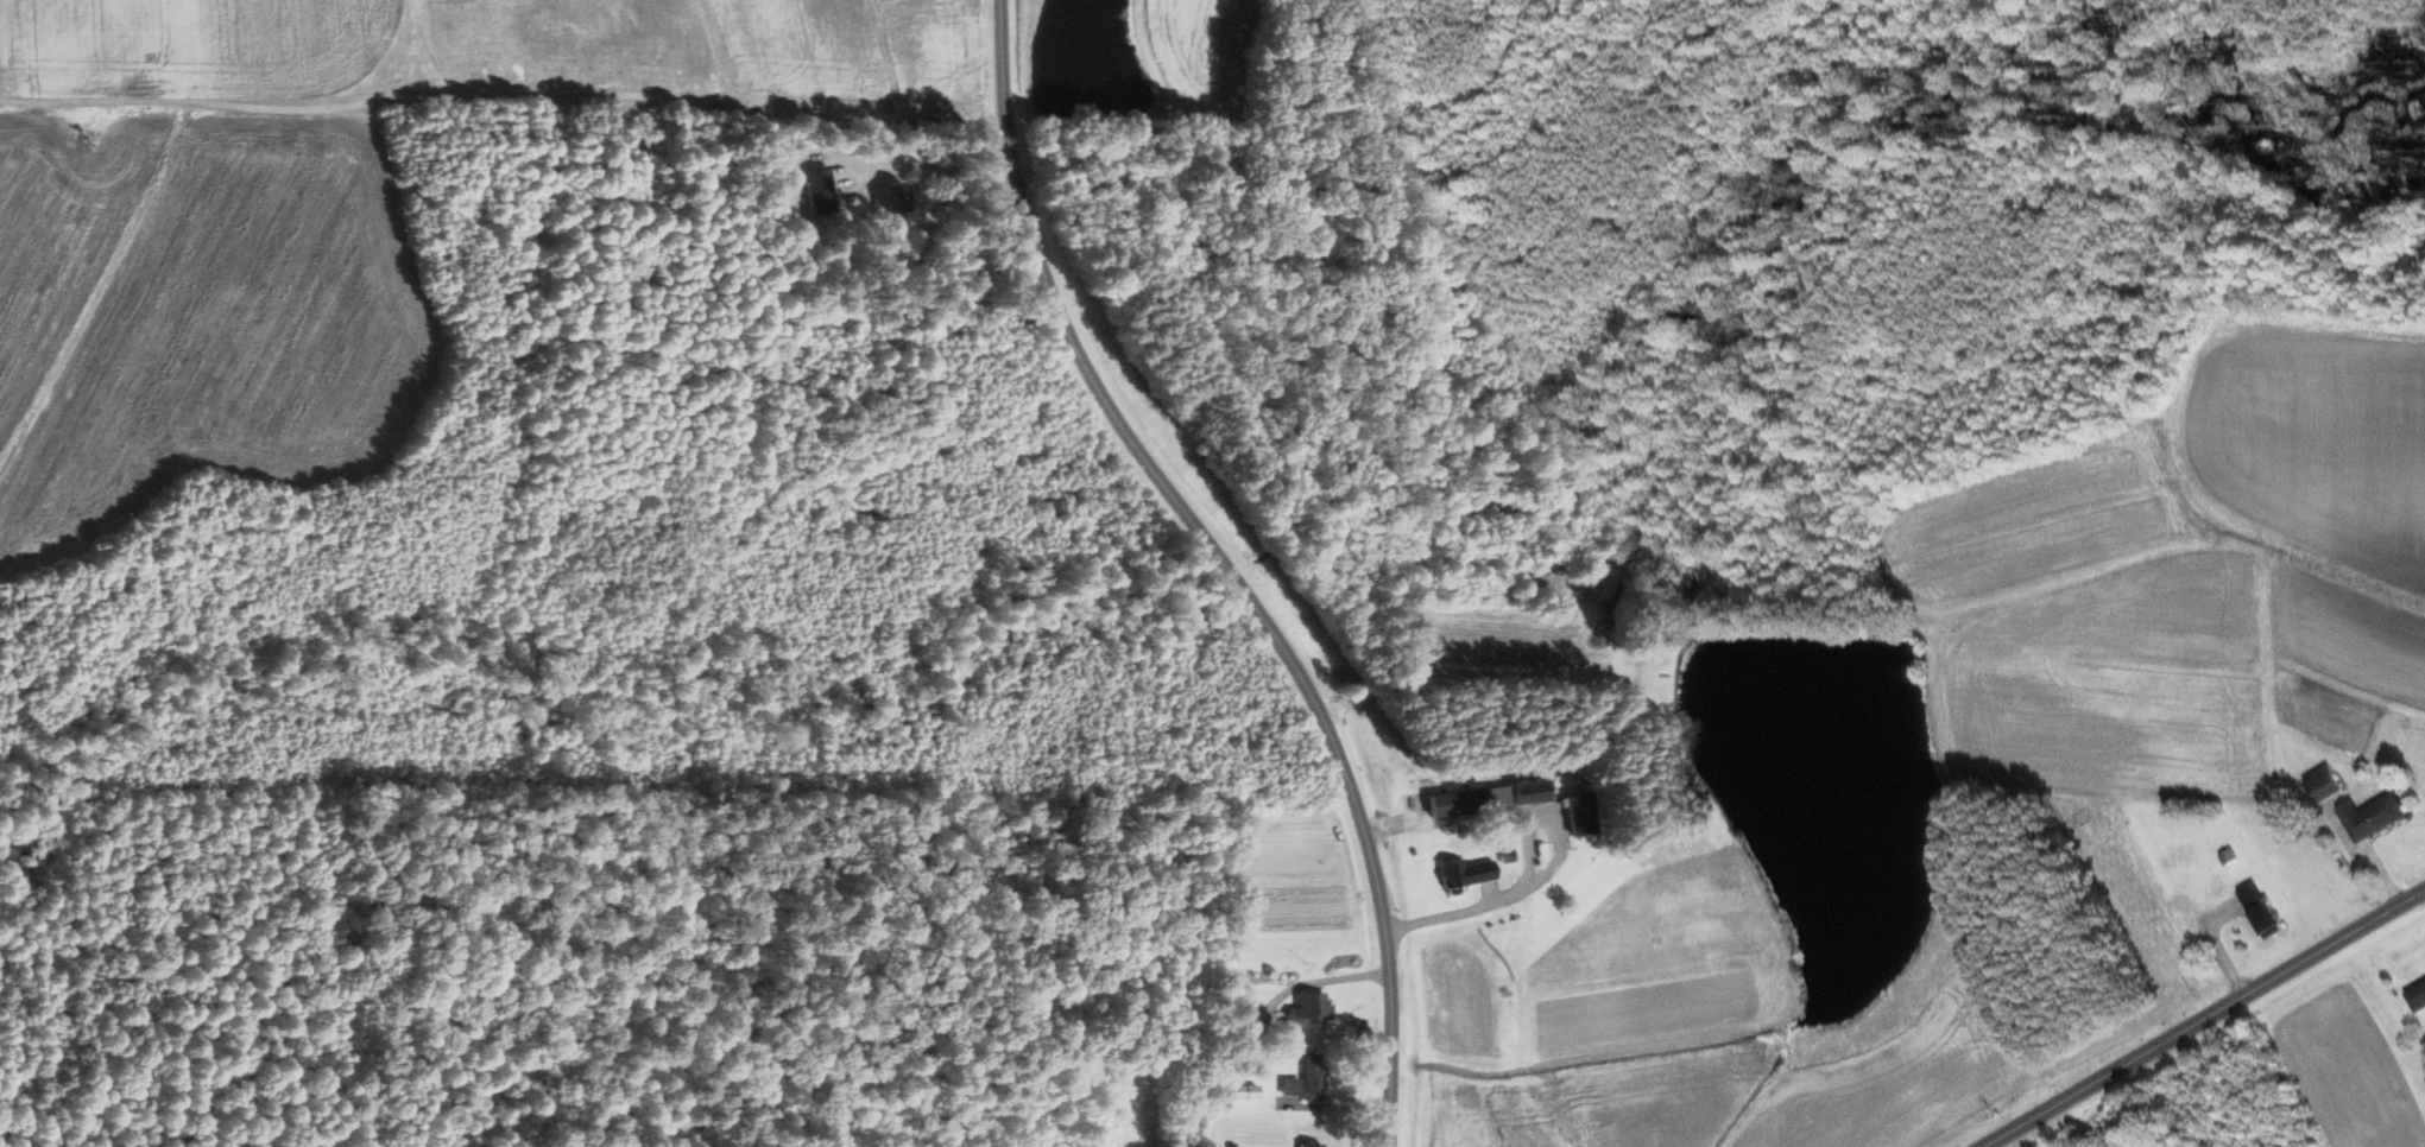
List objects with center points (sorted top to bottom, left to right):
road: (503, 91)
building: (817, 190)
building: (886, 197)
road: (1223, 564)
building: (2319, 782)
building: (1511, 792)
building: (1435, 803)
building: (1570, 812)
building: (2368, 816)
building: (2164, 857)
building: (1460, 870)
road: (1540, 879)
building: (2256, 910)
building: (2414, 993)
building: (1306, 1008)
road: (2206, 1018)
building: (1237, 1020)
building: (1303, 1079)
building: (1240, 1091)
building: (1306, 1145)

